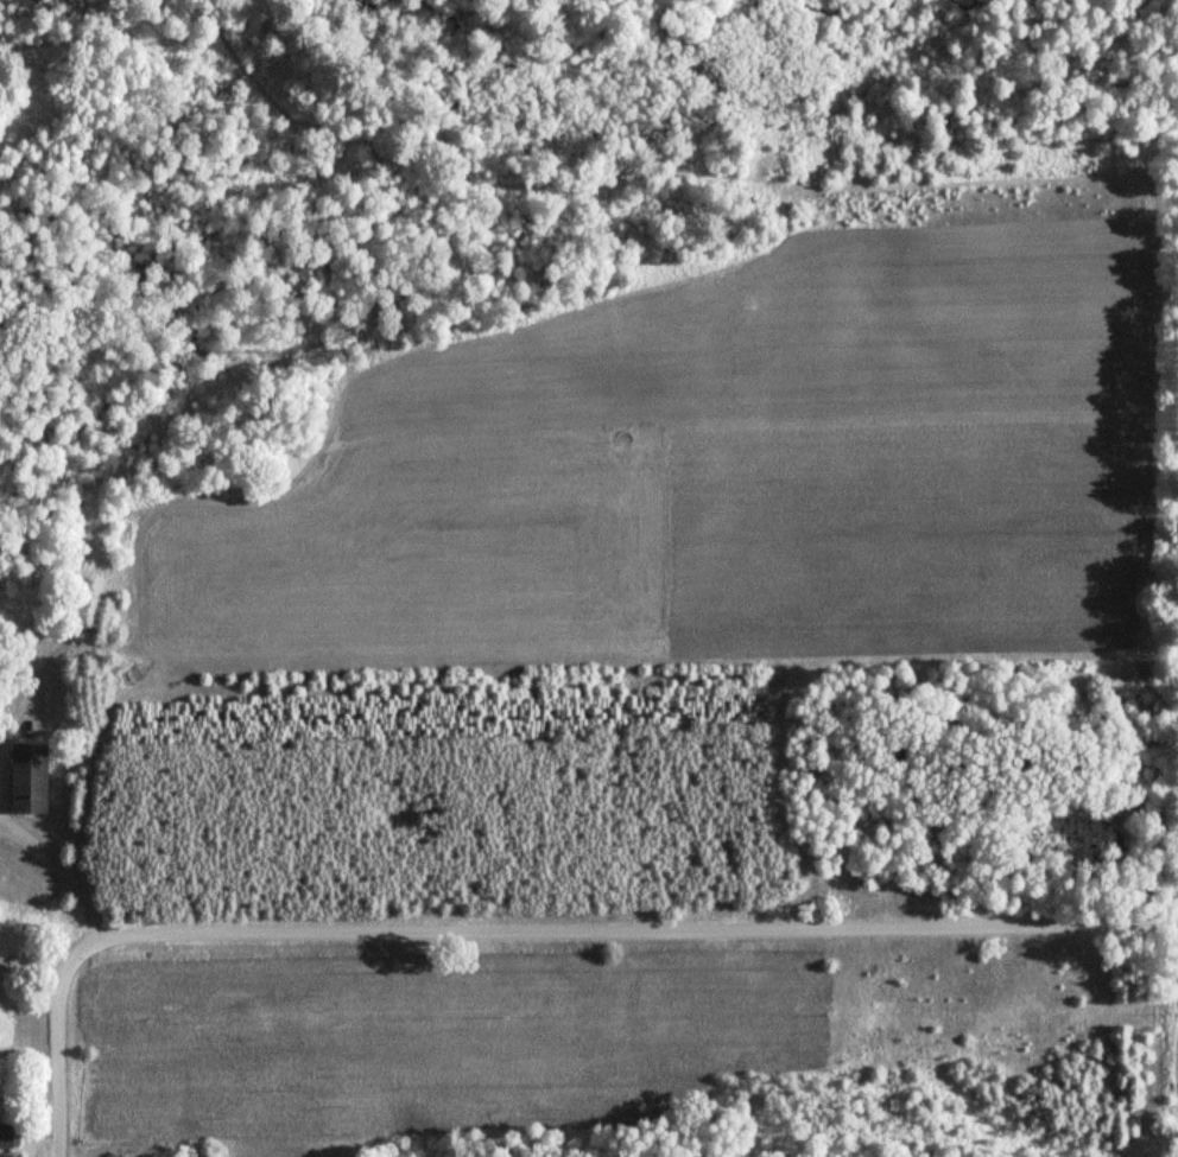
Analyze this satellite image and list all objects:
building: (31, 777)
road: (636, 929)
road: (62, 1041)
building: (8, 1137)

